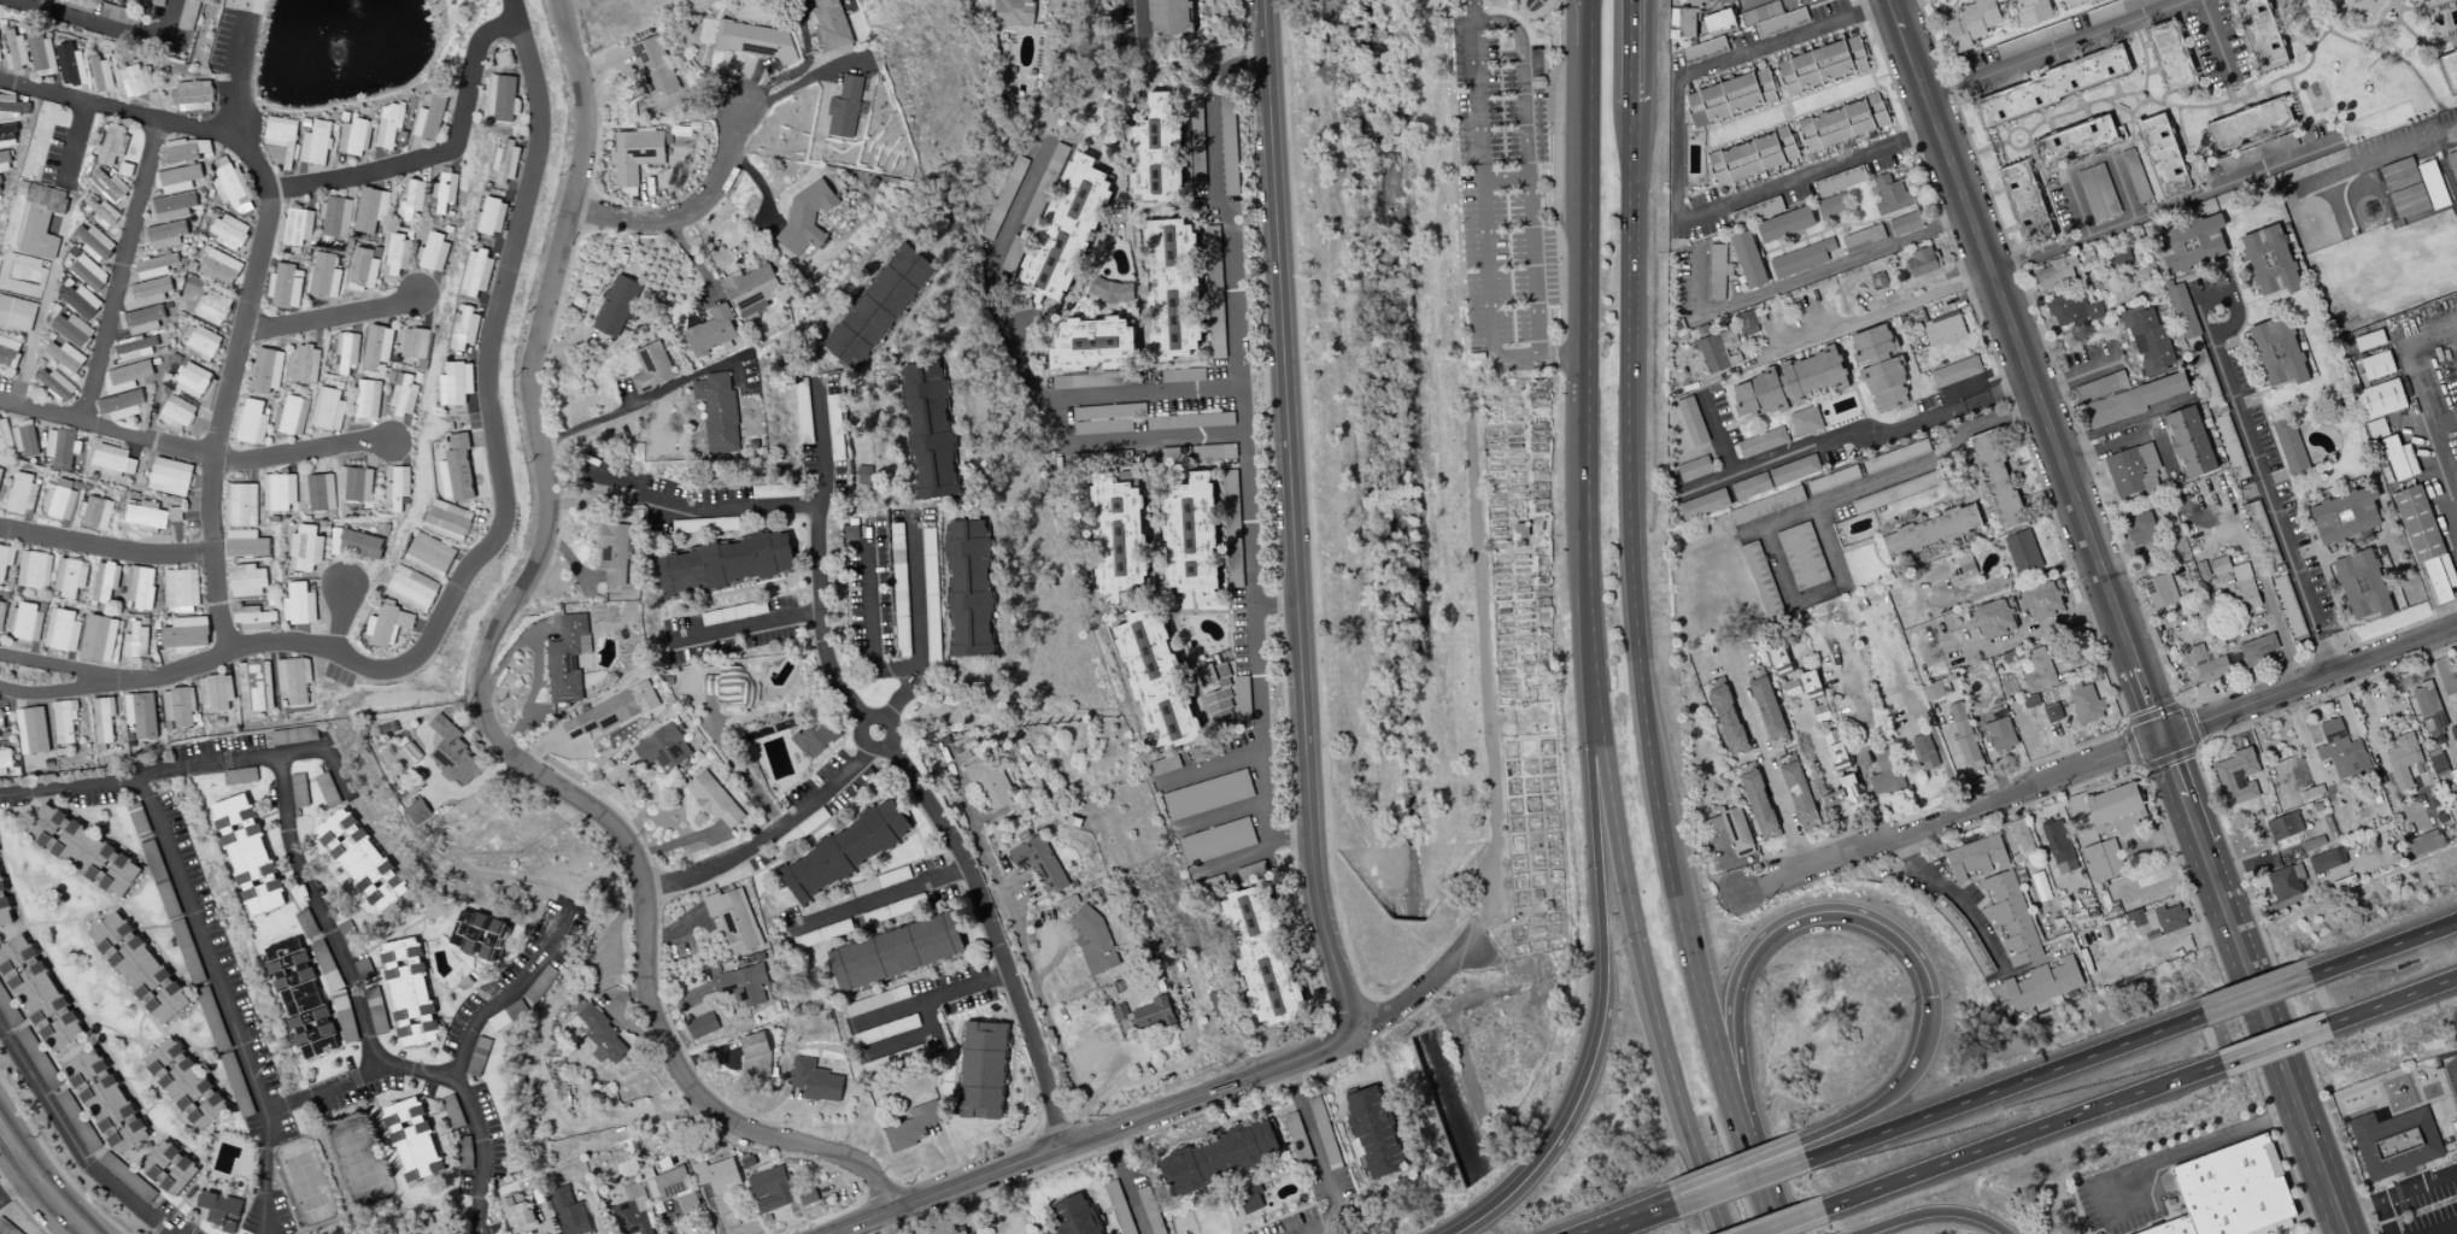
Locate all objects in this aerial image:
building: (2072, 1)
building: (157, 2)
road: (1752, 4)
building: (2116, 8)
building: (2033, 11)
building: (1014, 12)
building: (1169, 17)
road: (165, 18)
road: (1142, 18)
building: (1717, 20)
road: (105, 22)
building: (1970, 24)
building: (831, 27)
road: (1261, 29)
building: (2260, 33)
building: (753, 39)
building: (2033, 39)
road: (2217, 43)
road: (2062, 48)
building: (14, 51)
building: (41, 54)
road: (1631, 55)
building: (2169, 55)
building: (70, 64)
building: (1820, 64)
road: (1232, 69)
building: (2450, 69)
building: (655, 71)
building: (101, 74)
building: (134, 80)
road: (234, 80)
road: (801, 81)
road: (1520, 82)
building: (2052, 86)
building: (192, 94)
building: (1729, 96)
building: (500, 99)
building: (12, 106)
road: (338, 107)
building: (844, 107)
building: (429, 118)
building: (1841, 123)
building: (2250, 123)
building: (388, 124)
building: (7, 135)
building: (281, 136)
building: (354, 136)
building: (2075, 141)
road: (75, 142)
building: (316, 142)
building: (1195, 143)
building: (1227, 143)
building: (112, 145)
road: (2405, 148)
building: (183, 149)
building: (1155, 151)
building: (638, 153)
building: (2163, 153)
road: (434, 155)
building: (1751, 157)
building: (2241, 158)
building: (505, 159)
building: (4, 161)
building: (2453, 163)
road: (1679, 174)
building: (2397, 174)
road: (260, 175)
building: (2134, 175)
building: (177, 178)
road: (2235, 178)
building: (1839, 180)
building: (109, 184)
building: (1043, 184)
building: (2433, 184)
road: (2449, 186)
building: (231, 188)
building: (442, 190)
building: (2097, 193)
parking lot: (1503, 194)
building: (1889, 195)
building: (1002, 196)
building: (2023, 199)
building: (410, 200)
building: (2408, 200)
building: (171, 206)
road: (687, 207)
building: (1830, 207)
road: (2131, 207)
building: (369, 208)
building: (99, 211)
building: (334, 216)
building: (491, 216)
building: (805, 218)
building: (2074, 219)
building: (40, 221)
building: (1904, 223)
road: (1484, 224)
building: (1784, 224)
building: (1066, 225)
building: (295, 227)
building: (228, 230)
building: (163, 234)
building: (1861, 236)
road: (2070, 240)
building: (93, 241)
park: (2368, 241)
building: (2191, 243)
road: (1530, 246)
building: (430, 252)
building: (395, 254)
building: (1800, 258)
building: (1747, 259)
building: (2269, 260)
building: (1922, 262)
building: (154, 265)
building: (218, 268)
building: (362, 269)
road: (993, 271)
building: (1717, 271)
road: (1802, 271)
building: (88, 272)
road: (121, 272)
building: (2056, 272)
building: (475, 274)
building: (322, 275)
building: (285, 286)
building: (751, 289)
building: (1112, 289)
building: (146, 292)
building: (1213, 293)
building: (81, 300)
road: (2233, 304)
building: (615, 305)
building: (211, 306)
building: (878, 306)
building: (2072, 311)
building: (16, 312)
road: (329, 316)
road: (1871, 316)
building: (141, 319)
building: (1746, 323)
building: (1942, 328)
building: (72, 329)
building: (464, 329)
building: (711, 330)
building: (2191, 336)
building: (2148, 337)
building: (2368, 340)
building: (201, 342)
building: (415, 342)
building: (1871, 342)
building: (376, 346)
building: (1091, 346)
building: (134, 347)
building: (8, 351)
building: (1718, 351)
building: (2276, 351)
building: (345, 352)
building: (64, 355)
building: (305, 364)
building: (2375, 365)
building: (651, 366)
building: (266, 370)
road: (2028, 370)
building: (1954, 371)
road: (2076, 372)
building: (125, 376)
building: (192, 380)
building: (1096, 380)
building: (455, 382)
building: (54, 383)
building: (1787, 384)
building: (1886, 384)
building: (2101, 386)
road: (1148, 393)
building: (403, 395)
road: (645, 396)
road: (2418, 396)
building: (2380, 399)
building: (365, 400)
building: (2131, 400)
building: (121, 404)
building: (327, 409)
building: (717, 411)
building: (175, 412)
building: (291, 416)
building: (1104, 417)
road: (1056, 421)
building: (1189, 421)
building: (1691, 421)
building: (1805, 421)
building: (250, 422)
road: (1855, 428)
building: (2375, 428)
building: (928, 429)
road: (107, 431)
road: (1720, 431)
road: (2130, 433)
building: (4, 436)
building: (24, 439)
road: (1151, 440)
building: (1761, 441)
building: (2189, 442)
building: (60, 446)
building: (2288, 446)
road: (299, 449)
building: (1222, 451)
building: (112, 458)
building: (2397, 458)
building: (1093, 459)
road: (1247, 465)
building: (1870, 465)
building: (457, 469)
building: (1693, 469)
building: (2134, 470)
building: (169, 476)
building: (1773, 477)
building: (1995, 480)
building: (353, 483)
building: (397, 487)
road: (2265, 487)
building: (278, 490)
building: (317, 492)
building: (1893, 492)
building: (18, 494)
building: (58, 501)
building: (240, 504)
building: (1702, 504)
building: (1765, 505)
road: (685, 507)
road: (1802, 510)
building: (95, 512)
building: (2345, 515)
building: (151, 516)
building: (447, 519)
building: (1231, 528)
building: (2141, 529)
building: (1930, 530)
road: (2449, 531)
building: (1115, 537)
building: (1190, 537)
building: (2423, 540)
building: (244, 542)
building: (359, 542)
road: (107, 547)
road: (1291, 547)
building: (304, 548)
road: (491, 548)
building: (612, 552)
building: (2022, 552)
road: (215, 554)
building: (429, 554)
road: (820, 554)
building: (1801, 556)
building: (5, 558)
building: (725, 563)
building: (33, 569)
building: (1757, 569)
building: (69, 576)
building: (246, 580)
building: (104, 581)
building: (2238, 584)
building: (2361, 584)
building: (140, 586)
building: (411, 588)
building: (968, 588)
building: (181, 589)
building: (2159, 590)
building: (2043, 599)
building: (299, 604)
road: (1274, 605)
building: (1, 611)
road: (868, 616)
road: (336, 617)
building: (253, 618)
building: (1990, 618)
building: (23, 621)
road: (917, 623)
building: (388, 624)
road: (1588, 624)
road: (747, 625)
building: (61, 629)
road: (2034, 630)
building: (186, 633)
building: (99, 637)
building: (135, 640)
building: (2256, 650)
road: (1477, 656)
building: (565, 660)
road: (57, 663)
building: (2207, 665)
building: (1218, 670)
building: (2037, 670)
road: (1483, 672)
building: (294, 678)
building: (1153, 678)
building: (1808, 680)
road: (1641, 681)
road: (2309, 683)
building: (253, 686)
building: (726, 686)
building: (1931, 691)
building: (215, 692)
road: (482, 695)
building: (1241, 698)
building: (2075, 699)
building: (178, 705)
building: (2427, 707)
building: (610, 711)
building: (1767, 711)
building: (2051, 712)
building: (140, 713)
building: (102, 718)
building: (63, 719)
building: (1728, 721)
road: (868, 722)
building: (30, 729)
building: (0, 733)
building: (1999, 733)
building: (293, 734)
building: (1962, 735)
building: (814, 736)
building: (662, 747)
road: (1814, 747)
building: (1923, 750)
building: (2340, 750)
building: (1204, 751)
building: (411, 752)
building: (453, 752)
building: (1837, 757)
building: (5, 760)
building: (2404, 760)
building: (2435, 760)
road: (212, 762)
road: (1765, 763)
building: (1162, 764)
road: (738, 766)
road: (1212, 766)
building: (1883, 769)
building: (2453, 775)
building: (2236, 776)
building: (989, 782)
building: (2310, 792)
building: (1206, 794)
building: (1843, 794)
road: (1324, 795)
building: (1799, 795)
road: (1593, 798)
road: (1835, 799)
building: (714, 800)
building: (1759, 805)
road: (968, 809)
building: (2115, 809)
building: (420, 811)
road: (1221, 815)
road: (1949, 818)
building: (2283, 825)
building: (1732, 829)
road: (1847, 829)
building: (2018, 833)
road: (767, 835)
building: (1215, 840)
building: (2312, 842)
building: (2422, 842)
building: (2058, 846)
building: (83, 850)
building: (844, 850)
road: (1250, 852)
building: (247, 854)
building: (1976, 857)
building: (362, 859)
building: (2326, 859)
building: (2101, 860)
building: (1039, 862)
road: (307, 880)
building: (879, 881)
building: (2285, 881)
road: (1945, 889)
building: (165, 894)
road: (417, 894)
road: (881, 897)
building: (2, 909)
building: (734, 917)
building: (2011, 917)
building: (2157, 919)
building: (307, 927)
building: (346, 929)
road: (1767, 930)
building: (477, 934)
road: (995, 936)
road: (203, 938)
building: (1093, 941)
road: (2382, 948)
building: (186, 951)
building: (895, 952)
building: (1259, 957)
building: (326, 963)
building: (139, 966)
building: (2042, 983)
building: (747, 985)
road: (1036, 985)
road: (2252, 987)
road: (1423, 988)
building: (407, 992)
building: (37, 993)
road: (2254, 994)
traffic signals: (1930, 997)
building: (300, 998)
building: (371, 998)
road: (933, 998)
road: (2391, 999)
building: (875, 1000)
building: (7, 1006)
building: (209, 1011)
building: (1143, 1015)
building: (345, 1018)
building: (379, 1022)
building: (702, 1024)
building: (881, 1030)
building: (597, 1034)
road: (915, 1039)
road: (2273, 1042)
building: (756, 1054)
building: (37, 1057)
building: (895, 1059)
road: (455, 1068)
building: (981, 1070)
road: (2379, 1079)
building: (814, 1080)
building: (184, 1083)
building: (235, 1083)
road: (2452, 1083)
road: (2415, 1085)
road: (2002, 1086)
road: (1892, 1092)
road: (2382, 1098)
road: (2429, 1099)
building: (105, 1100)
road: (2361, 1105)
road: (2330, 1109)
road: (1570, 1112)
road: (2450, 1116)
building: (77, 1120)
road: (2329, 1122)
building: (911, 1126)
building: (1323, 1130)
road: (2277, 1130)
building: (1373, 1133)
road: (2021, 1133)
road: (1092, 1134)
building: (1296, 1136)
building: (411, 1139)
road: (2348, 1139)
road: (72, 1140)
building: (2394, 1141)
road: (2186, 1147)
road: (1317, 1148)
road: (57, 1152)
building: (463, 1152)
road: (479, 1152)
building: (1216, 1157)
building: (169, 1168)
road: (1732, 1170)
building: (715, 1174)
road: (2399, 1175)
building: (127, 1176)
road: (16, 1177)
road: (1127, 1181)
road: (46, 1182)
road: (1737, 1182)
road: (2417, 1185)
building: (769, 1188)
building: (2232, 1192)
building: (807, 1194)
building: (1249, 1199)
building: (1119, 1206)
road: (2357, 1206)
building: (219, 1209)
building: (1149, 1210)
road: (1933, 1210)
building: (567, 1211)
building: (632, 1211)
building: (1080, 1214)
road: (2385, 1216)
road: (2300, 1217)
road: (1634, 1220)
road: (1784, 1221)
road: (2105, 1222)
road: (2283, 1226)
road: (2273, 1227)
road: (2440, 1227)
road: (1310, 1230)
road: (2289, 1230)
building: (436, 1232)
building: (968, 1233)

